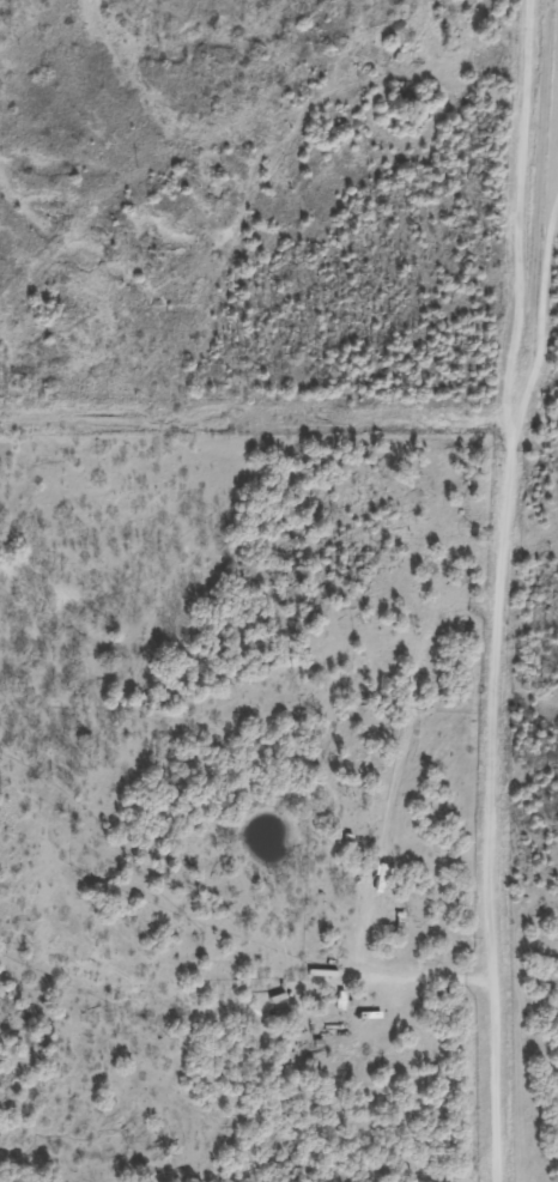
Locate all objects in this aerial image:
road: (509, 590)

